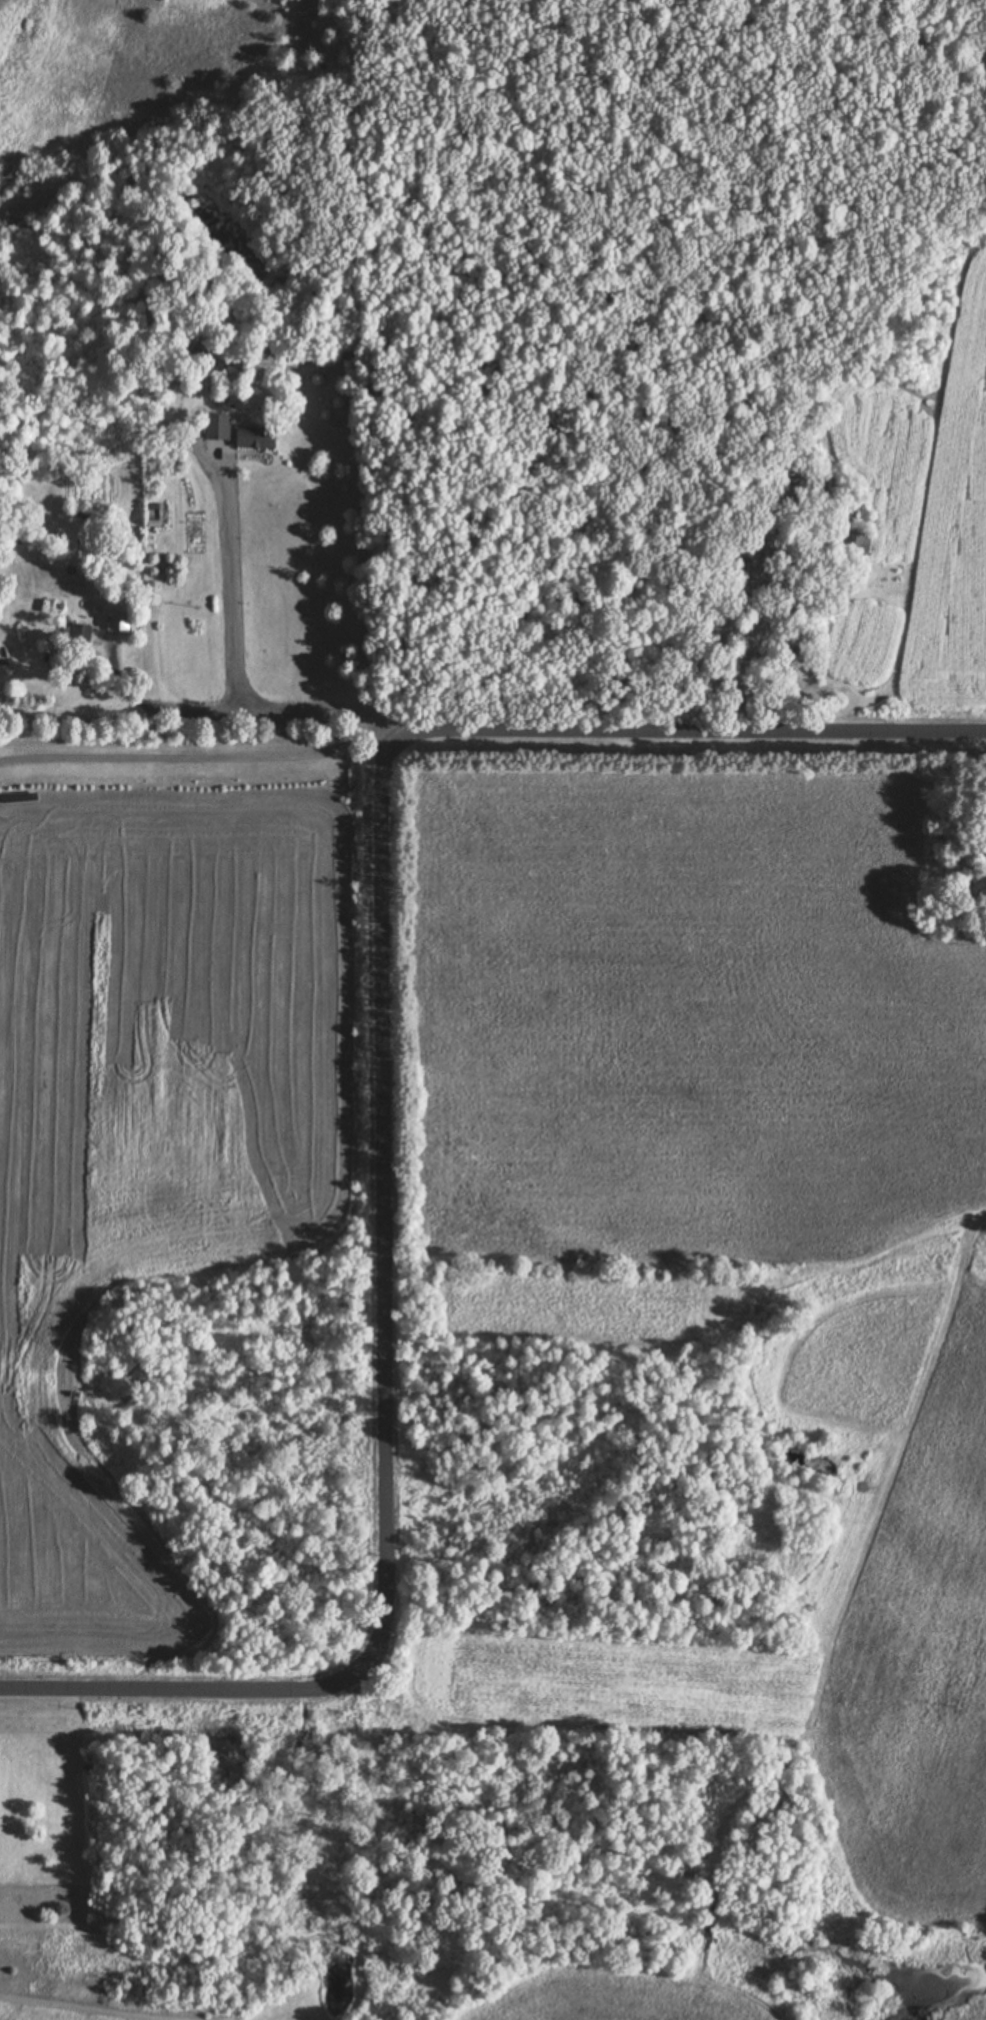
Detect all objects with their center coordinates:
building: (215, 425)
building: (252, 435)
building: (791, 473)
building: (852, 538)
road: (230, 585)
building: (77, 636)
building: (793, 643)
road: (254, 708)
road: (192, 755)
road: (383, 1079)

